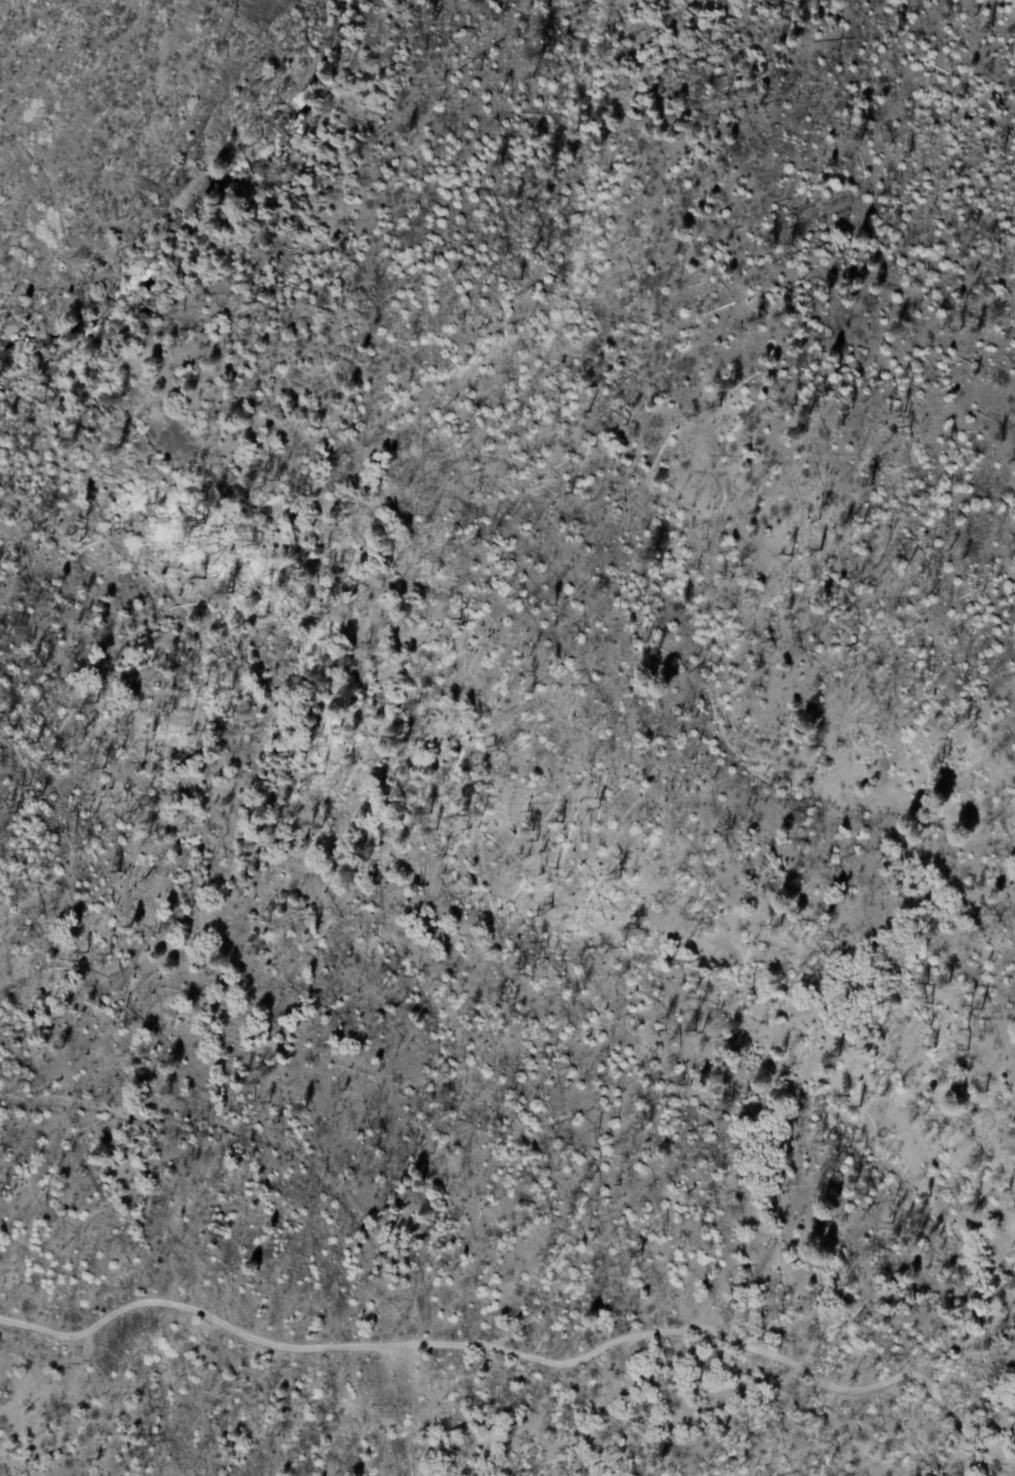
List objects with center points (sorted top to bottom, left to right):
road: (343, 1349)

